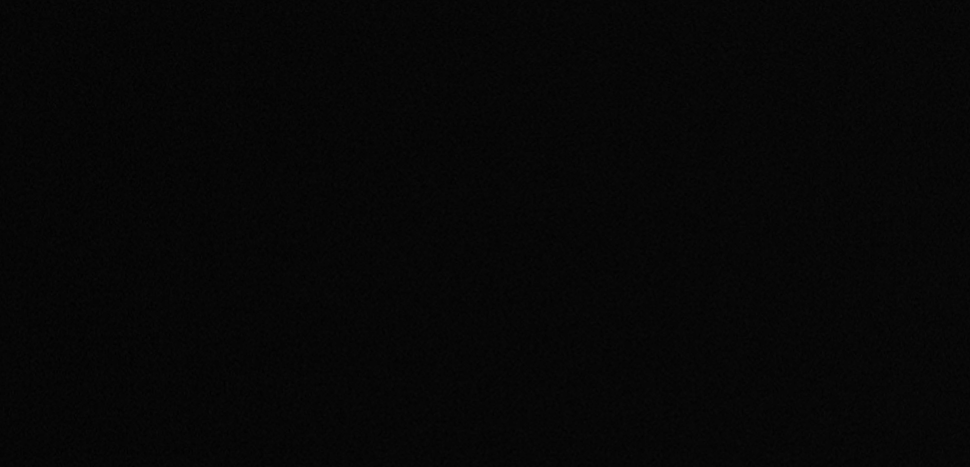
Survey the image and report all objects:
river: (321, 205)
river: (12, 395)

